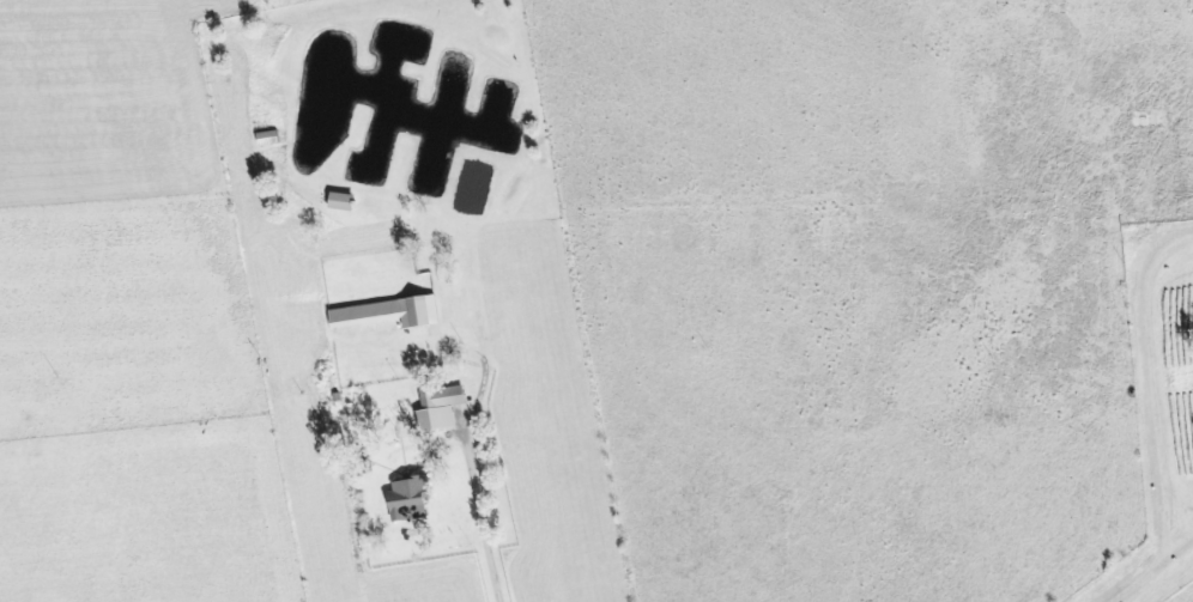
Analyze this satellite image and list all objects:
building: (393, 314)
building: (443, 407)
road: (1169, 424)
building: (412, 500)
road: (478, 525)

